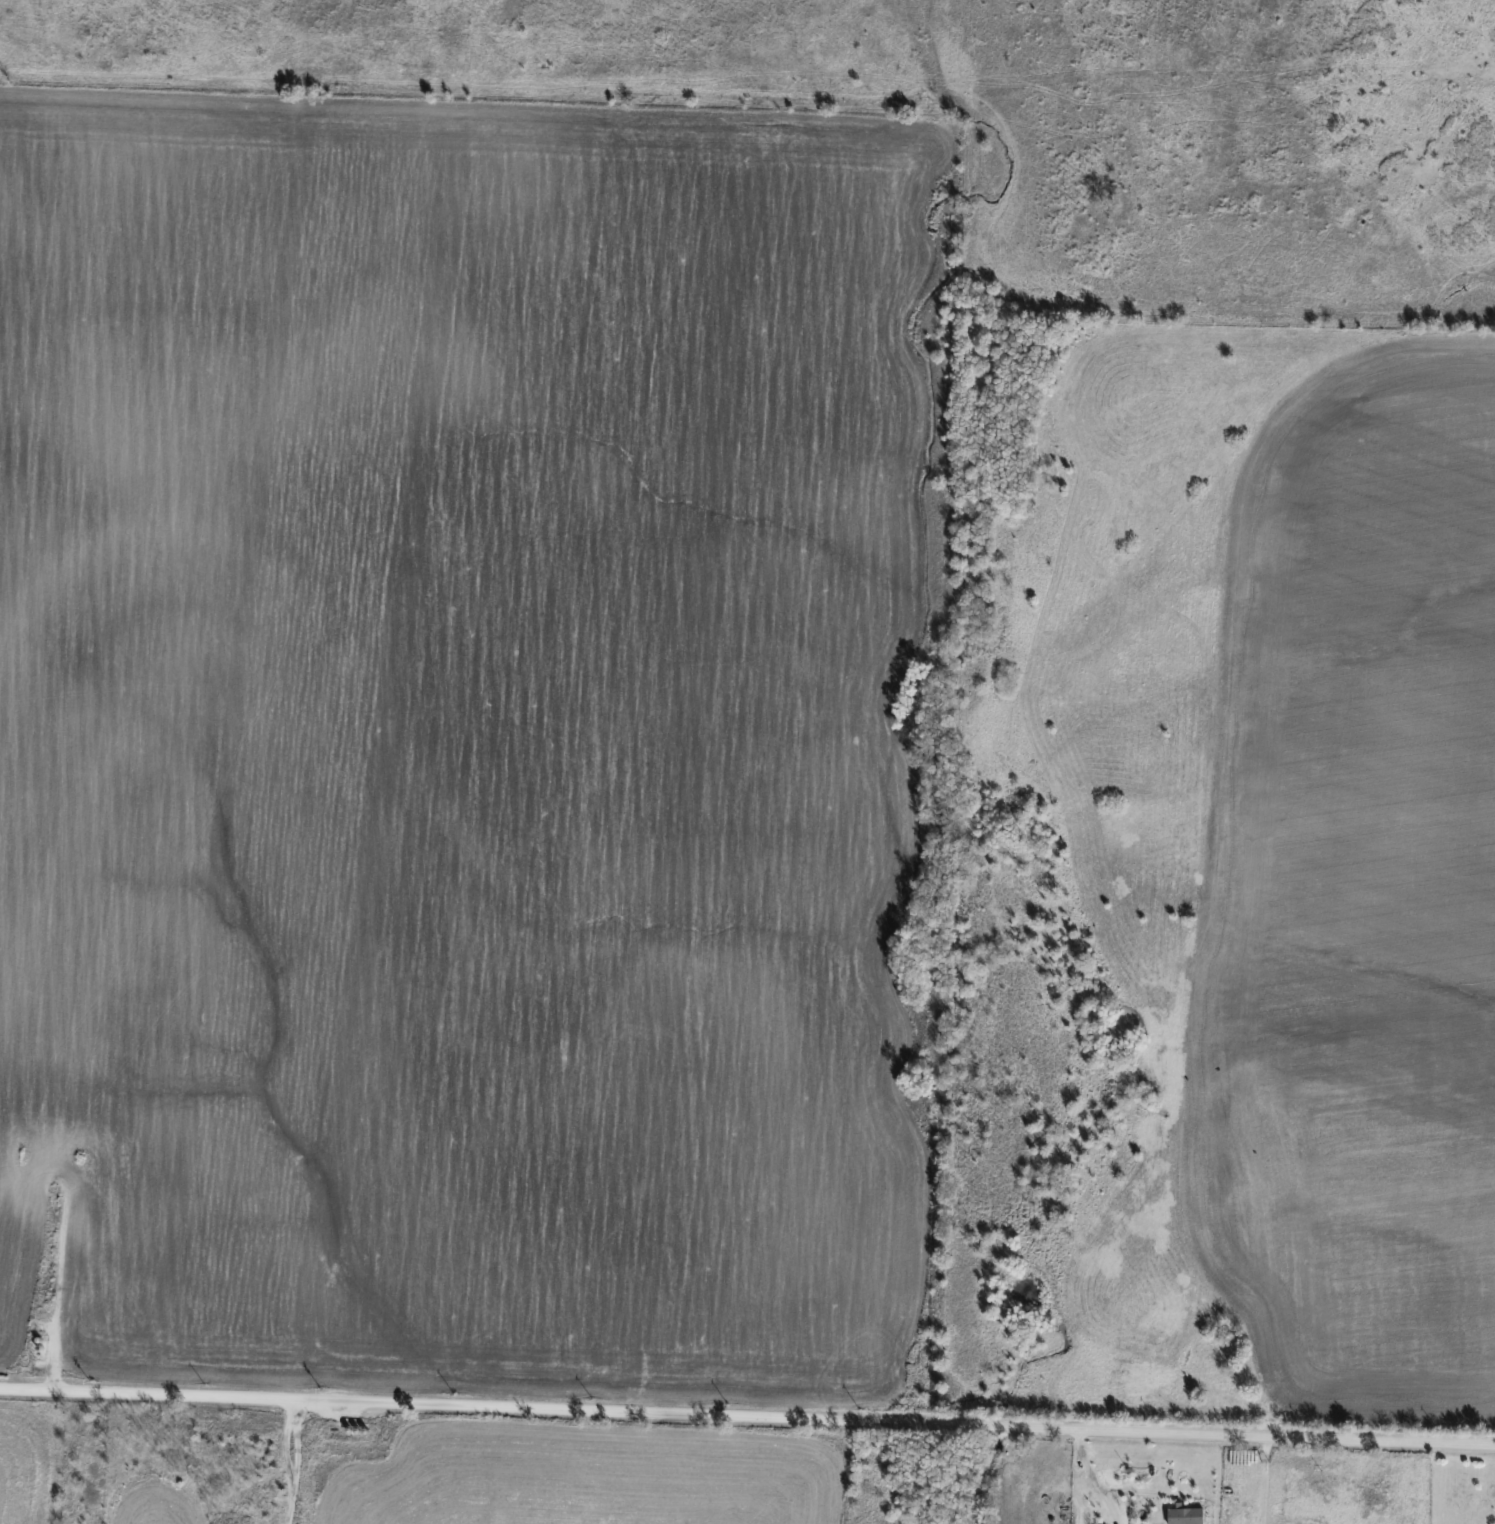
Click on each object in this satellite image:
road: (747, 1416)
building: (1144, 1511)
building: (1183, 1515)

